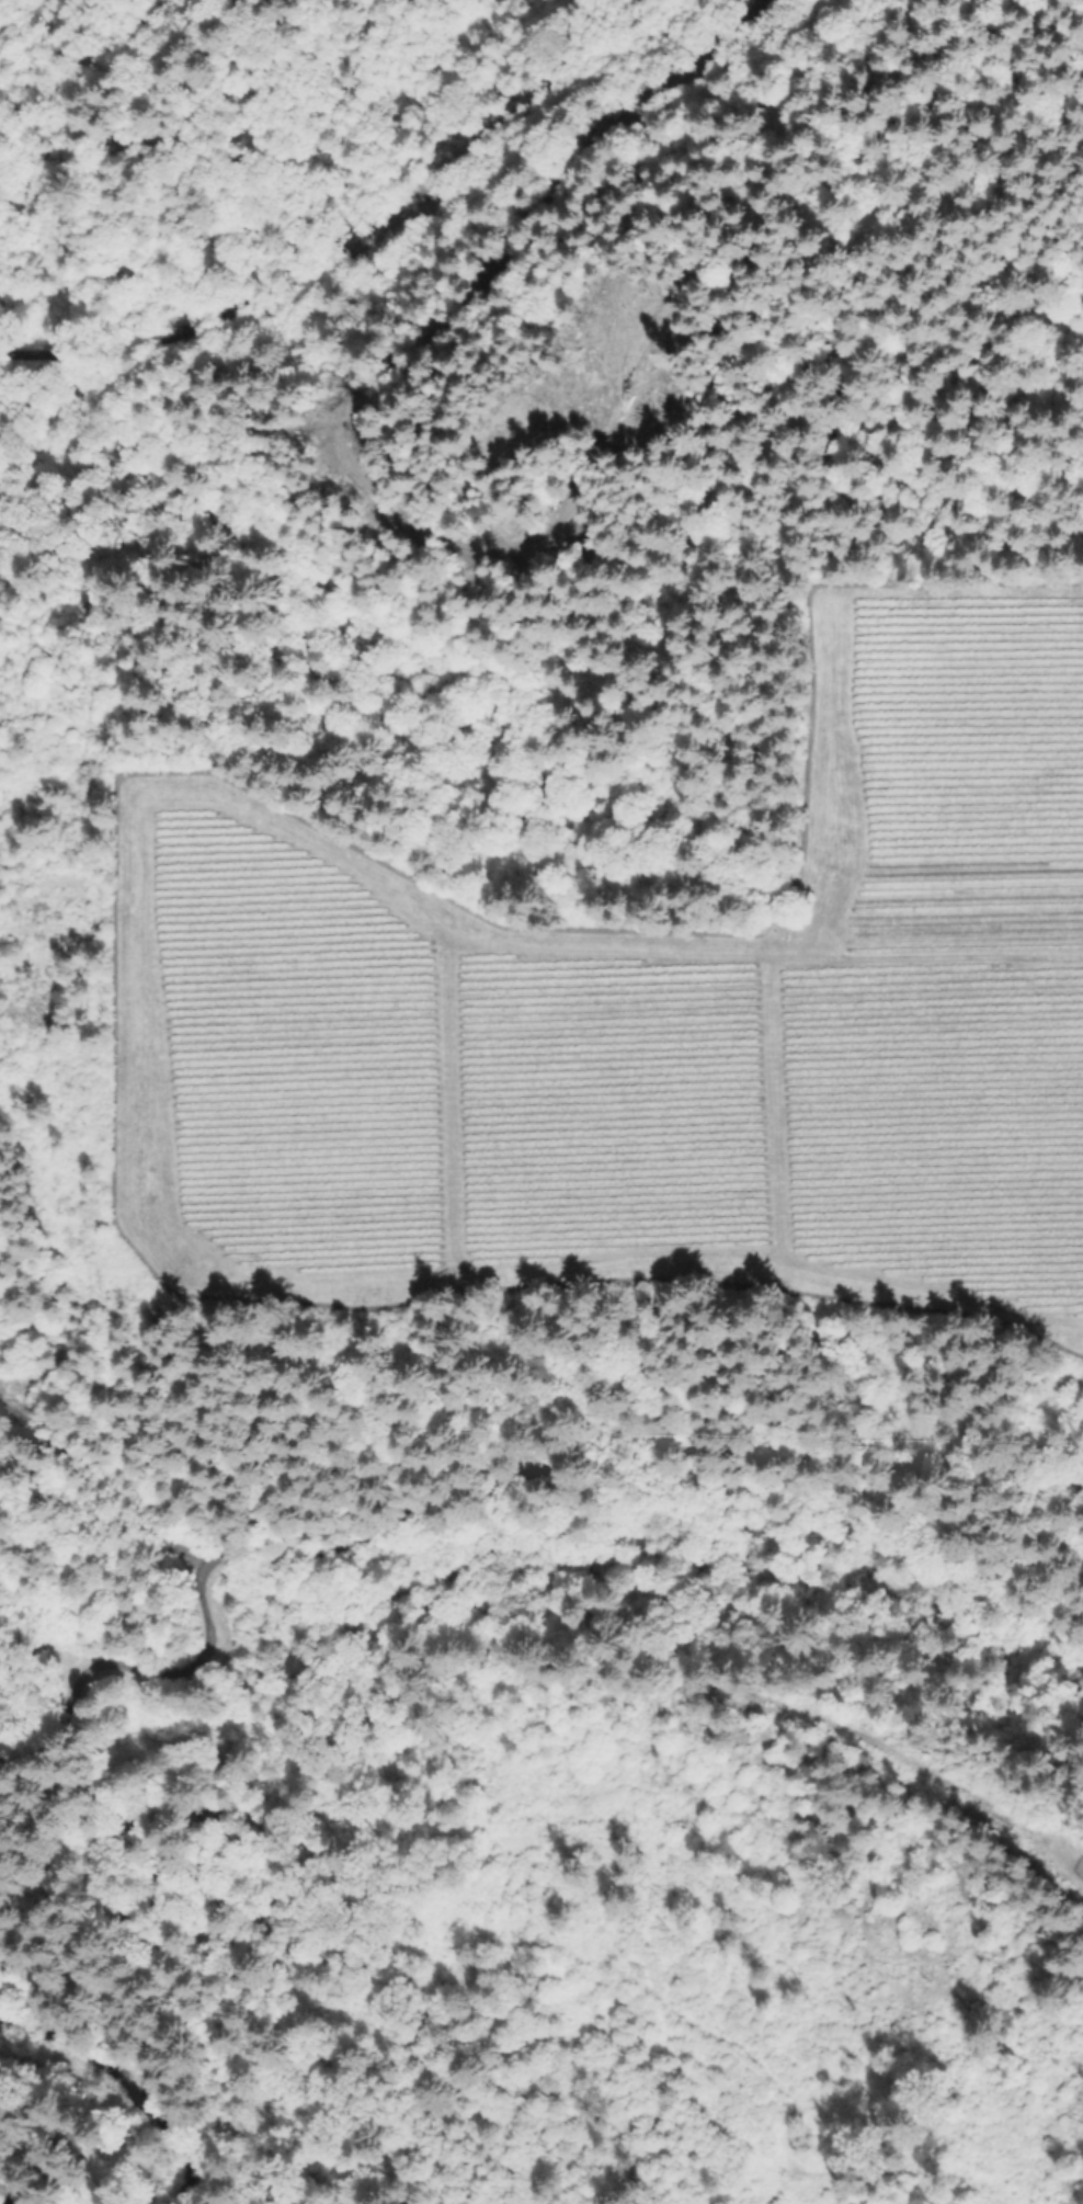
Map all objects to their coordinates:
road: (516, 1495)

